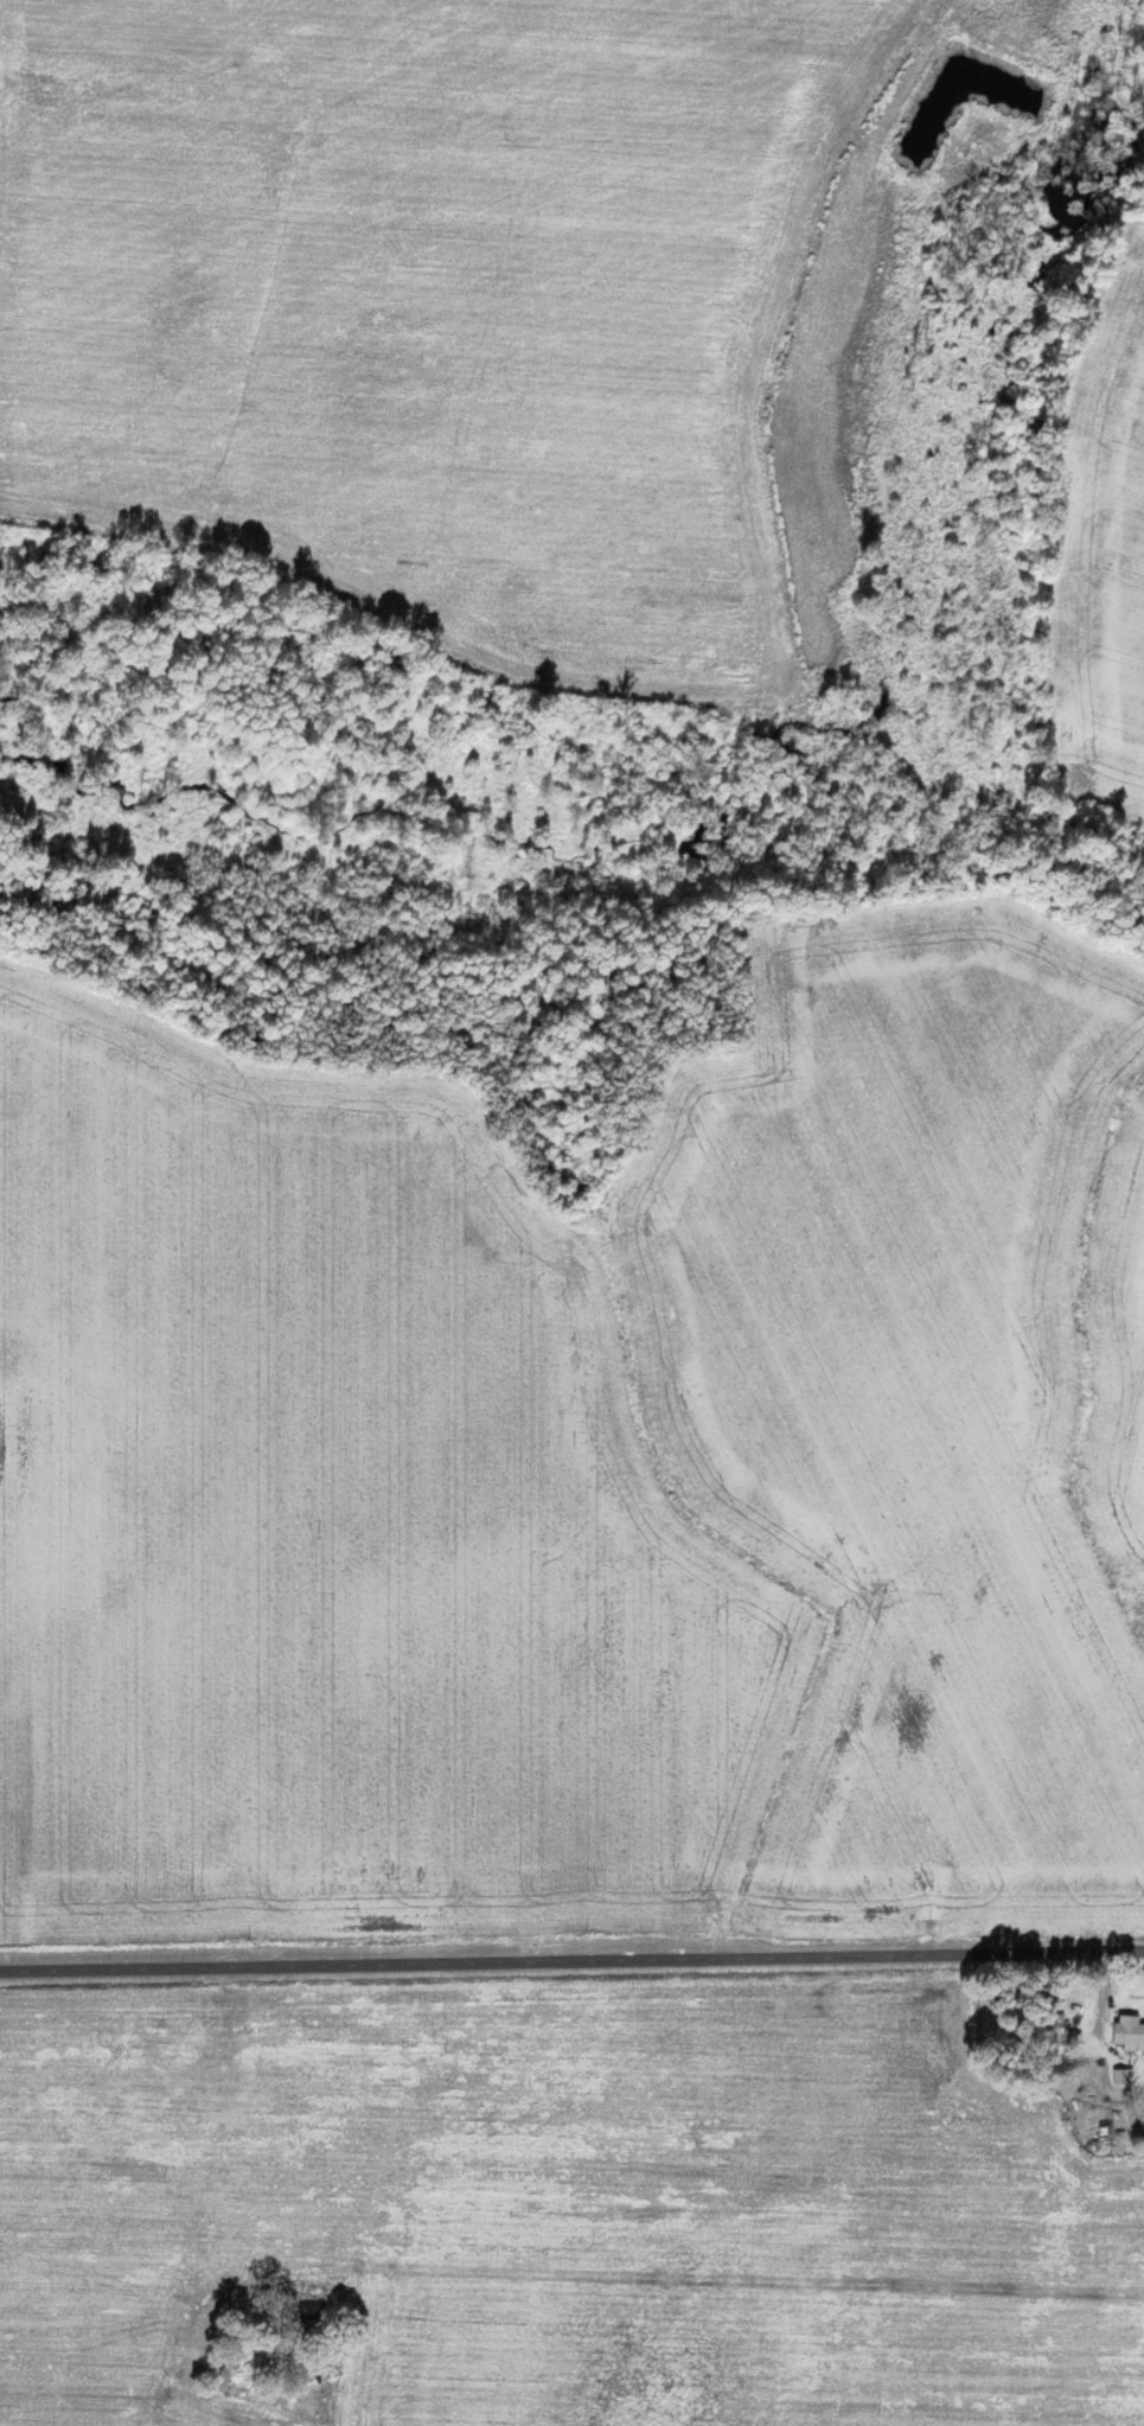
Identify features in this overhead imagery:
road: (571, 1964)
building: (1131, 2031)
building: (1125, 2076)

